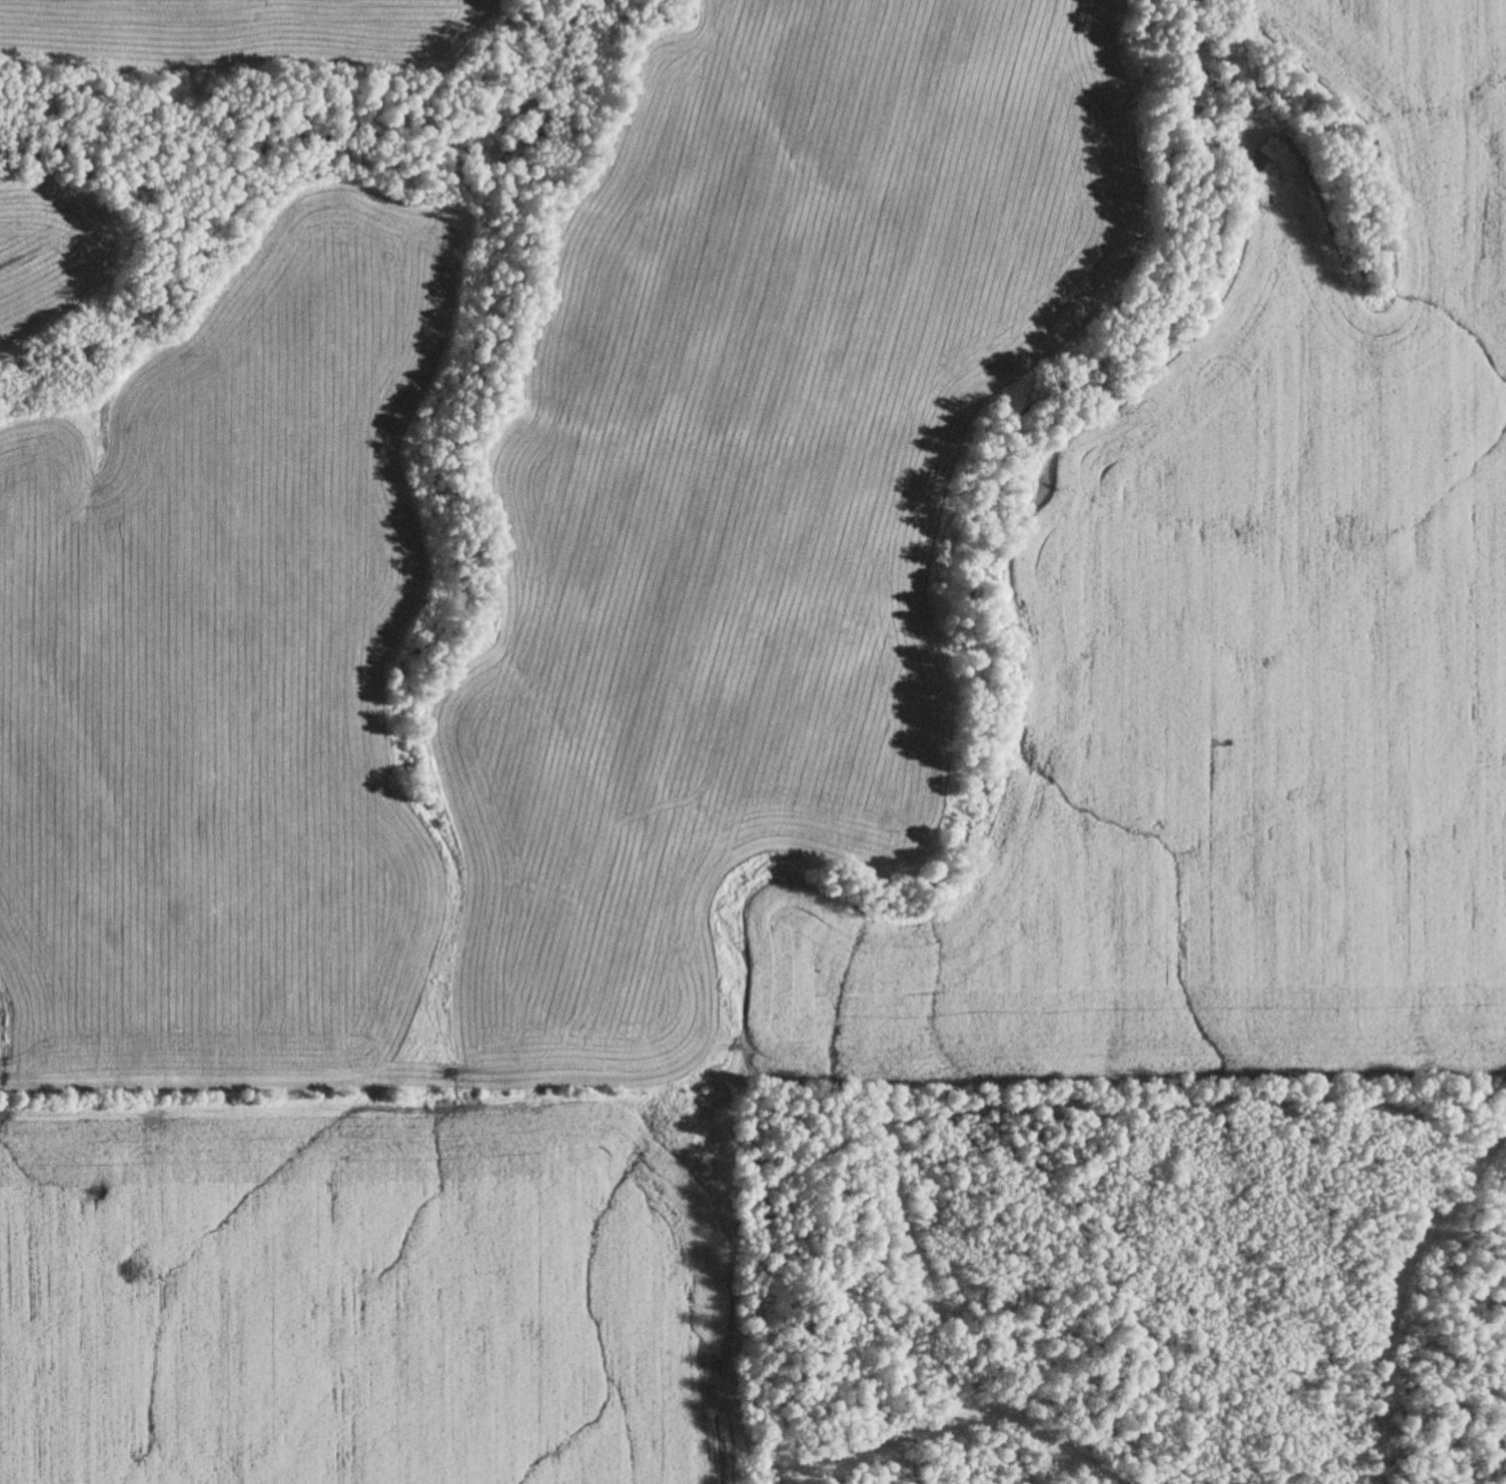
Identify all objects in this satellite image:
crop: (237, 31)
crop: (42, 261)
crop: (718, 728)

